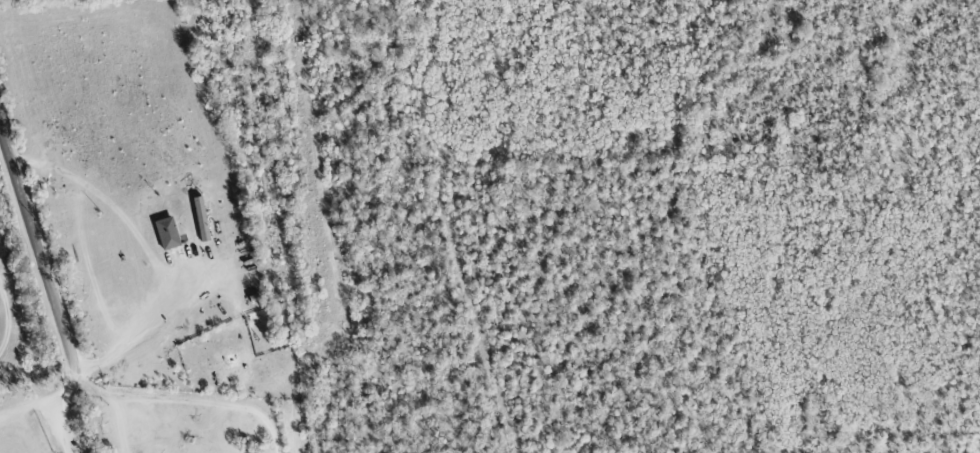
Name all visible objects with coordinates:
road: (414, 79)
building: (200, 218)
building: (165, 232)
road: (37, 247)
road: (10, 325)
road: (149, 333)
road: (86, 383)
road: (33, 403)
road: (204, 404)
road: (63, 408)
road: (120, 422)

